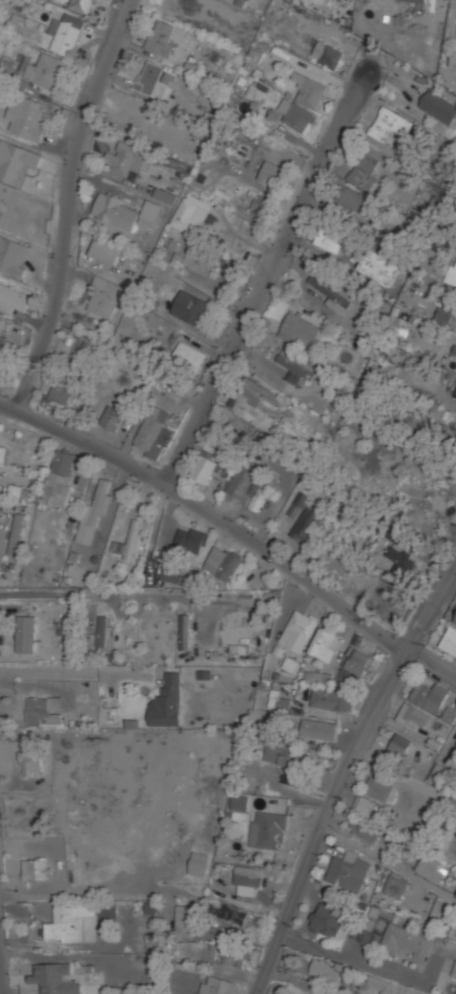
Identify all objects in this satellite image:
building: (419, 1)
building: (81, 5)
building: (66, 32)
building: (161, 35)
building: (327, 53)
building: (45, 70)
building: (149, 76)
building: (304, 101)
building: (439, 107)
building: (26, 115)
building: (390, 124)
building: (127, 157)
building: (16, 161)
building: (365, 167)
building: (270, 172)
building: (166, 194)
building: (354, 199)
road: (71, 205)
building: (123, 210)
building: (450, 211)
building: (193, 212)
building: (328, 238)
building: (106, 250)
building: (186, 255)
building: (12, 256)
building: (379, 265)
building: (453, 272)
road: (266, 273)
building: (331, 293)
building: (105, 296)
building: (13, 299)
building: (190, 306)
building: (298, 327)
building: (1, 341)
building: (189, 356)
building: (297, 368)
building: (367, 385)
building: (264, 388)
building: (61, 391)
building: (438, 412)
building: (112, 417)
building: (241, 423)
building: (153, 432)
building: (295, 433)
building: (3, 453)
building: (204, 465)
building: (61, 475)
building: (246, 486)
building: (100, 501)
building: (298, 503)
building: (424, 520)
building: (306, 524)
road: (235, 529)
building: (17, 532)
building: (133, 539)
building: (191, 540)
building: (222, 561)
building: (402, 561)
building: (187, 576)
road: (95, 593)
building: (455, 620)
building: (300, 628)
building: (102, 630)
building: (185, 631)
building: (26, 633)
building: (325, 638)
building: (449, 640)
building: (354, 664)
road: (75, 673)
building: (318, 676)
building: (430, 694)
building: (331, 698)
building: (168, 700)
building: (278, 701)
building: (41, 707)
building: (449, 714)
building: (415, 717)
building: (82, 720)
building: (318, 728)
building: (400, 743)
building: (292, 753)
building: (31, 762)
road: (343, 775)
building: (378, 787)
building: (240, 801)
building: (368, 806)
building: (268, 829)
building: (364, 830)
building: (198, 862)
building: (426, 866)
building: (35, 868)
building: (349, 871)
building: (249, 875)
building: (395, 885)
building: (150, 908)
building: (110, 911)
building: (237, 914)
building: (185, 917)
building: (328, 920)
building: (69, 923)
building: (369, 937)
building: (408, 940)
building: (235, 955)
road: (366, 964)
building: (454, 968)
building: (328, 970)
road: (1, 973)
building: (55, 979)
building: (220, 984)
building: (379, 984)

